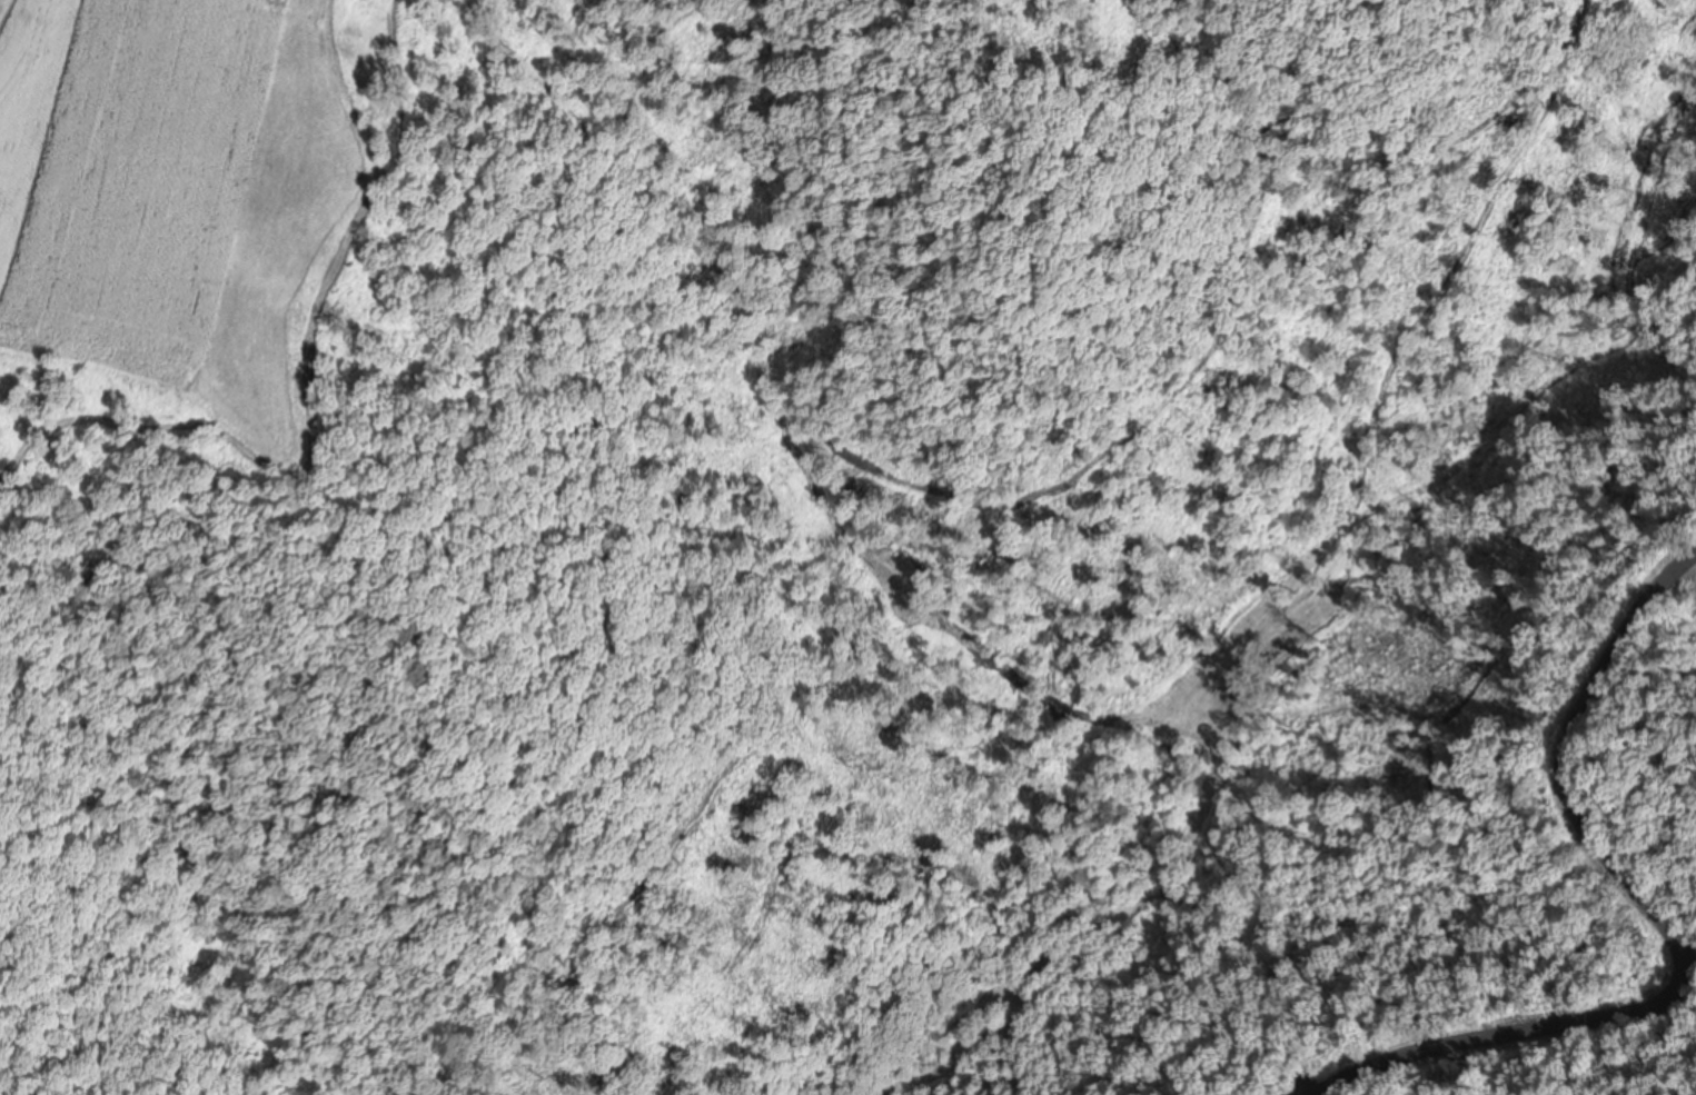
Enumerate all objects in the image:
road: (1666, 926)

